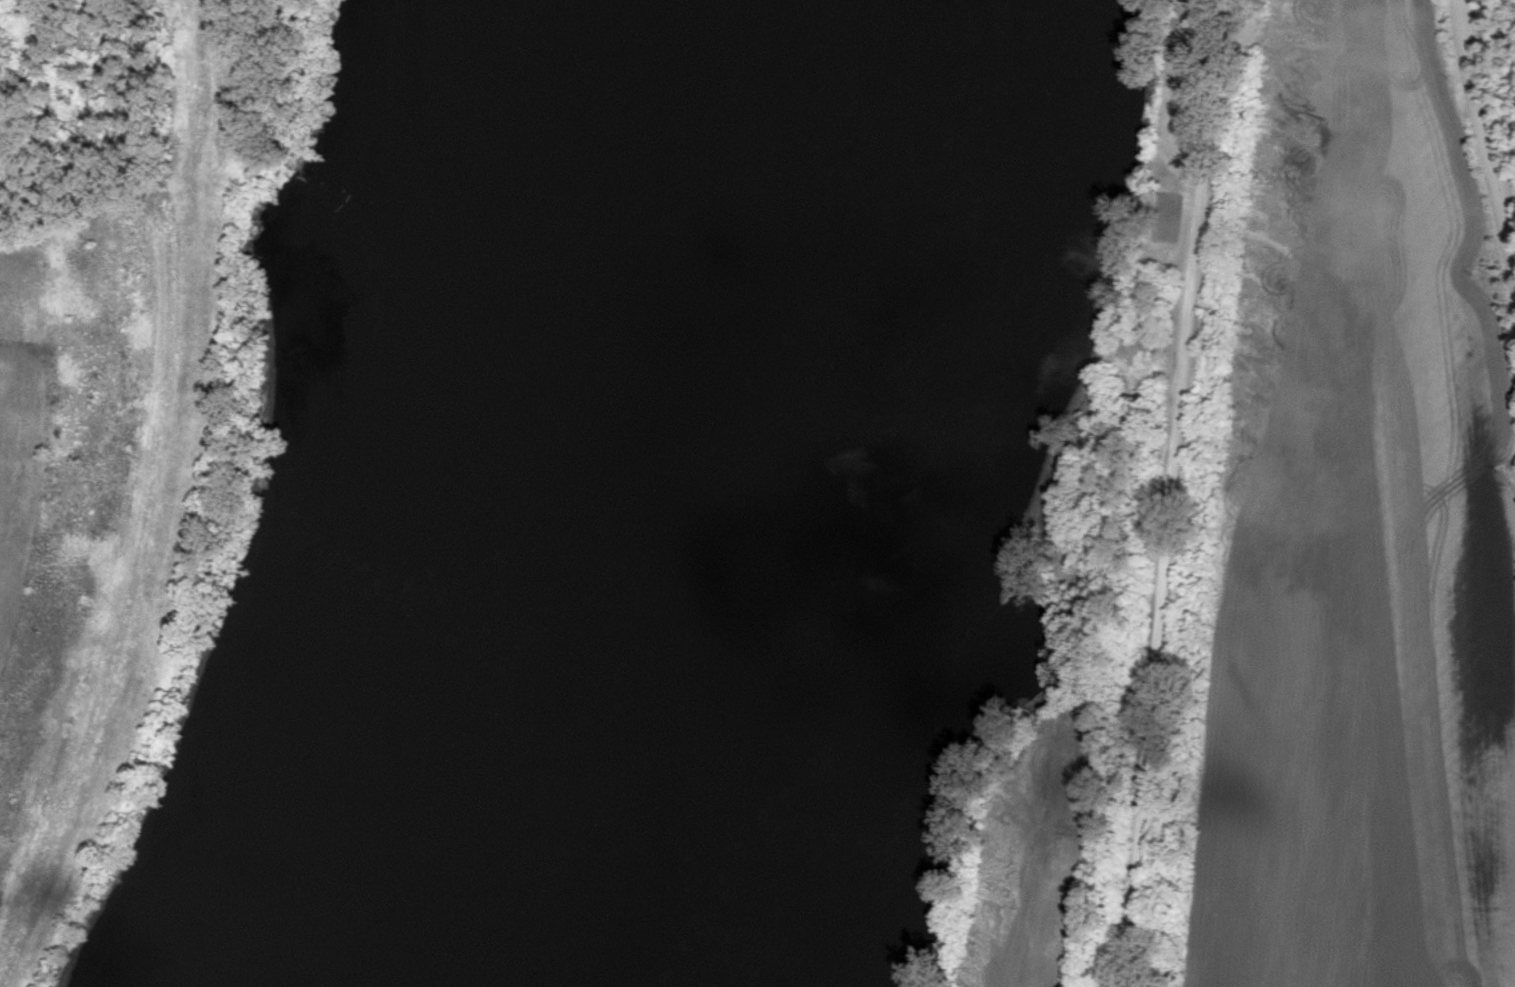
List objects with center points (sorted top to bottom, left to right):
road: (1483, 189)
road: (34, 218)
road: (1167, 493)
river: (591, 495)

